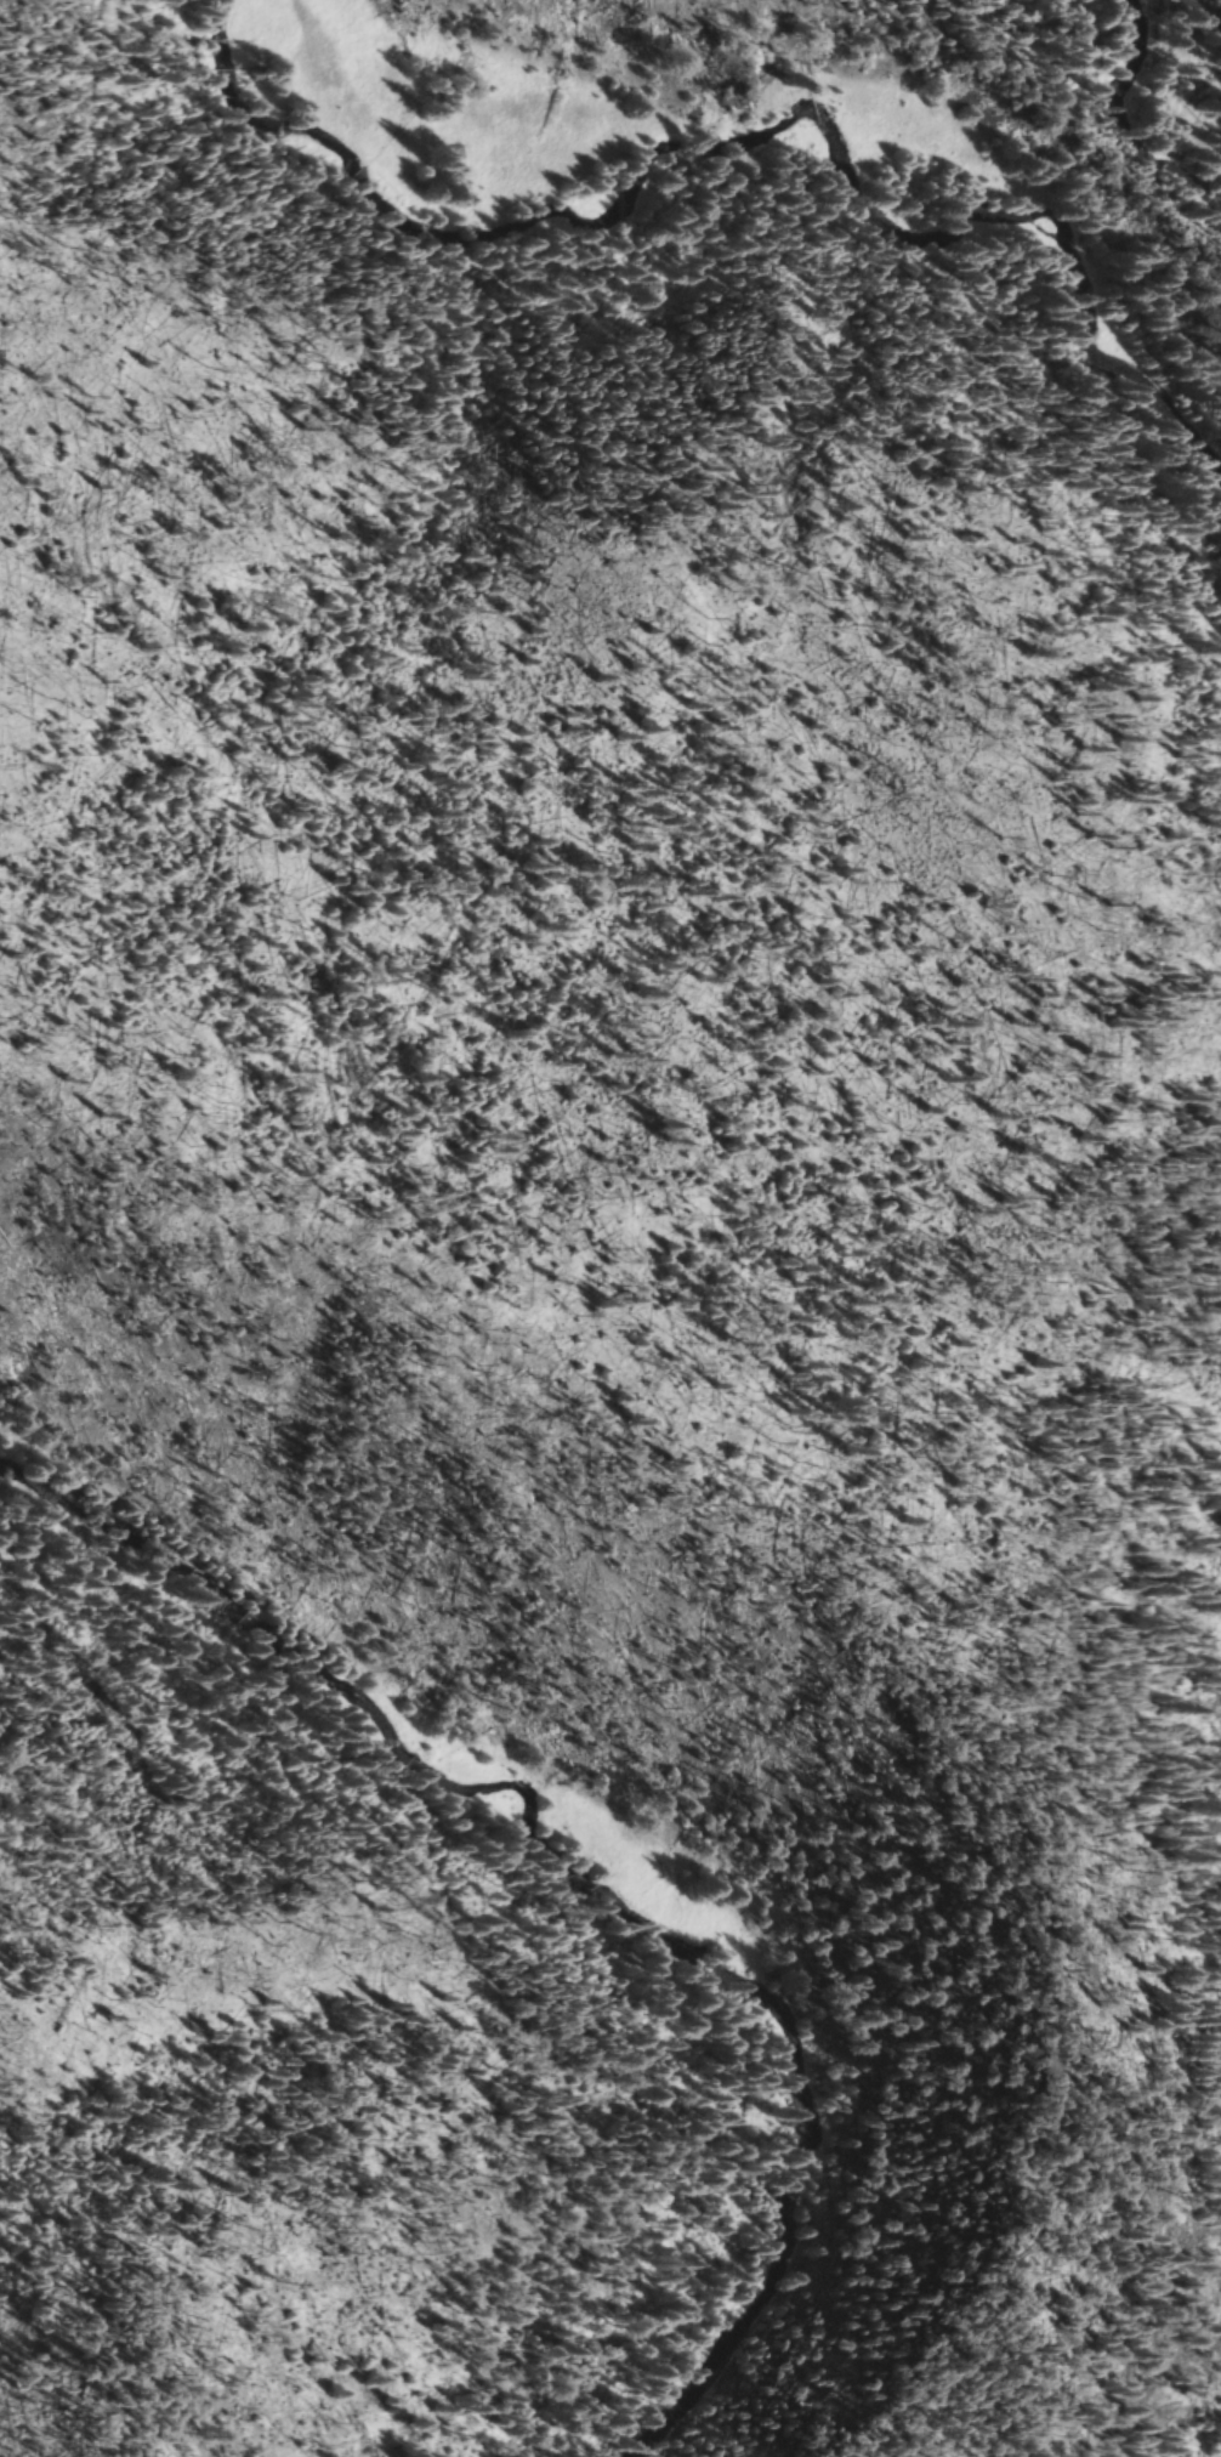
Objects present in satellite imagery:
road: (1203, 11)
river: (1129, 118)
river: (742, 138)
river: (575, 1878)

